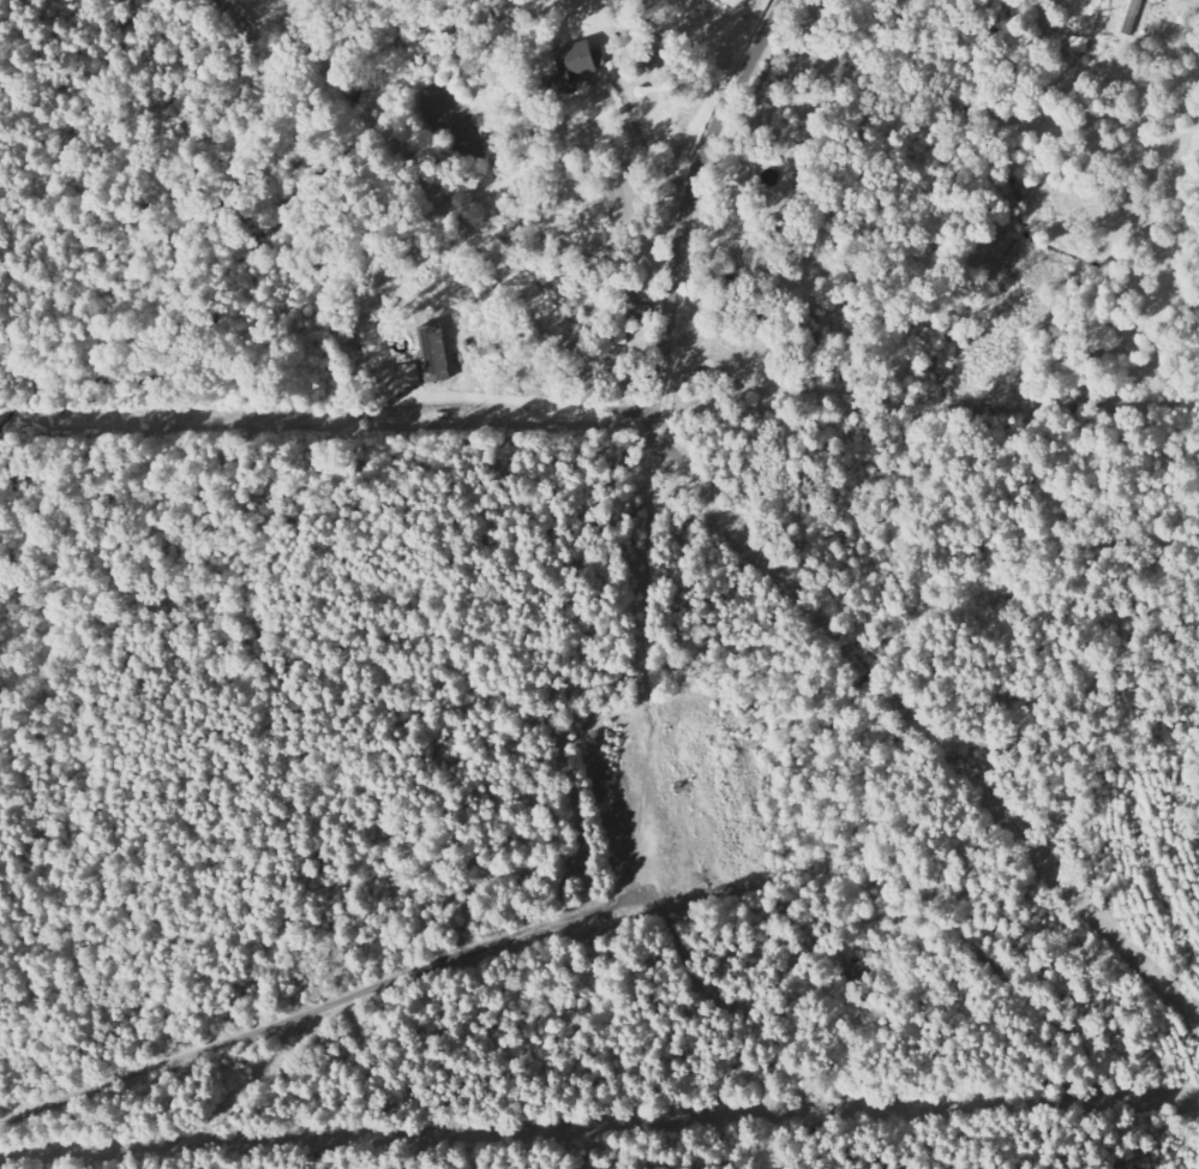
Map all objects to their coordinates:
building: (736, 4)
building: (574, 66)
road: (684, 210)
building: (432, 353)
building: (409, 376)

